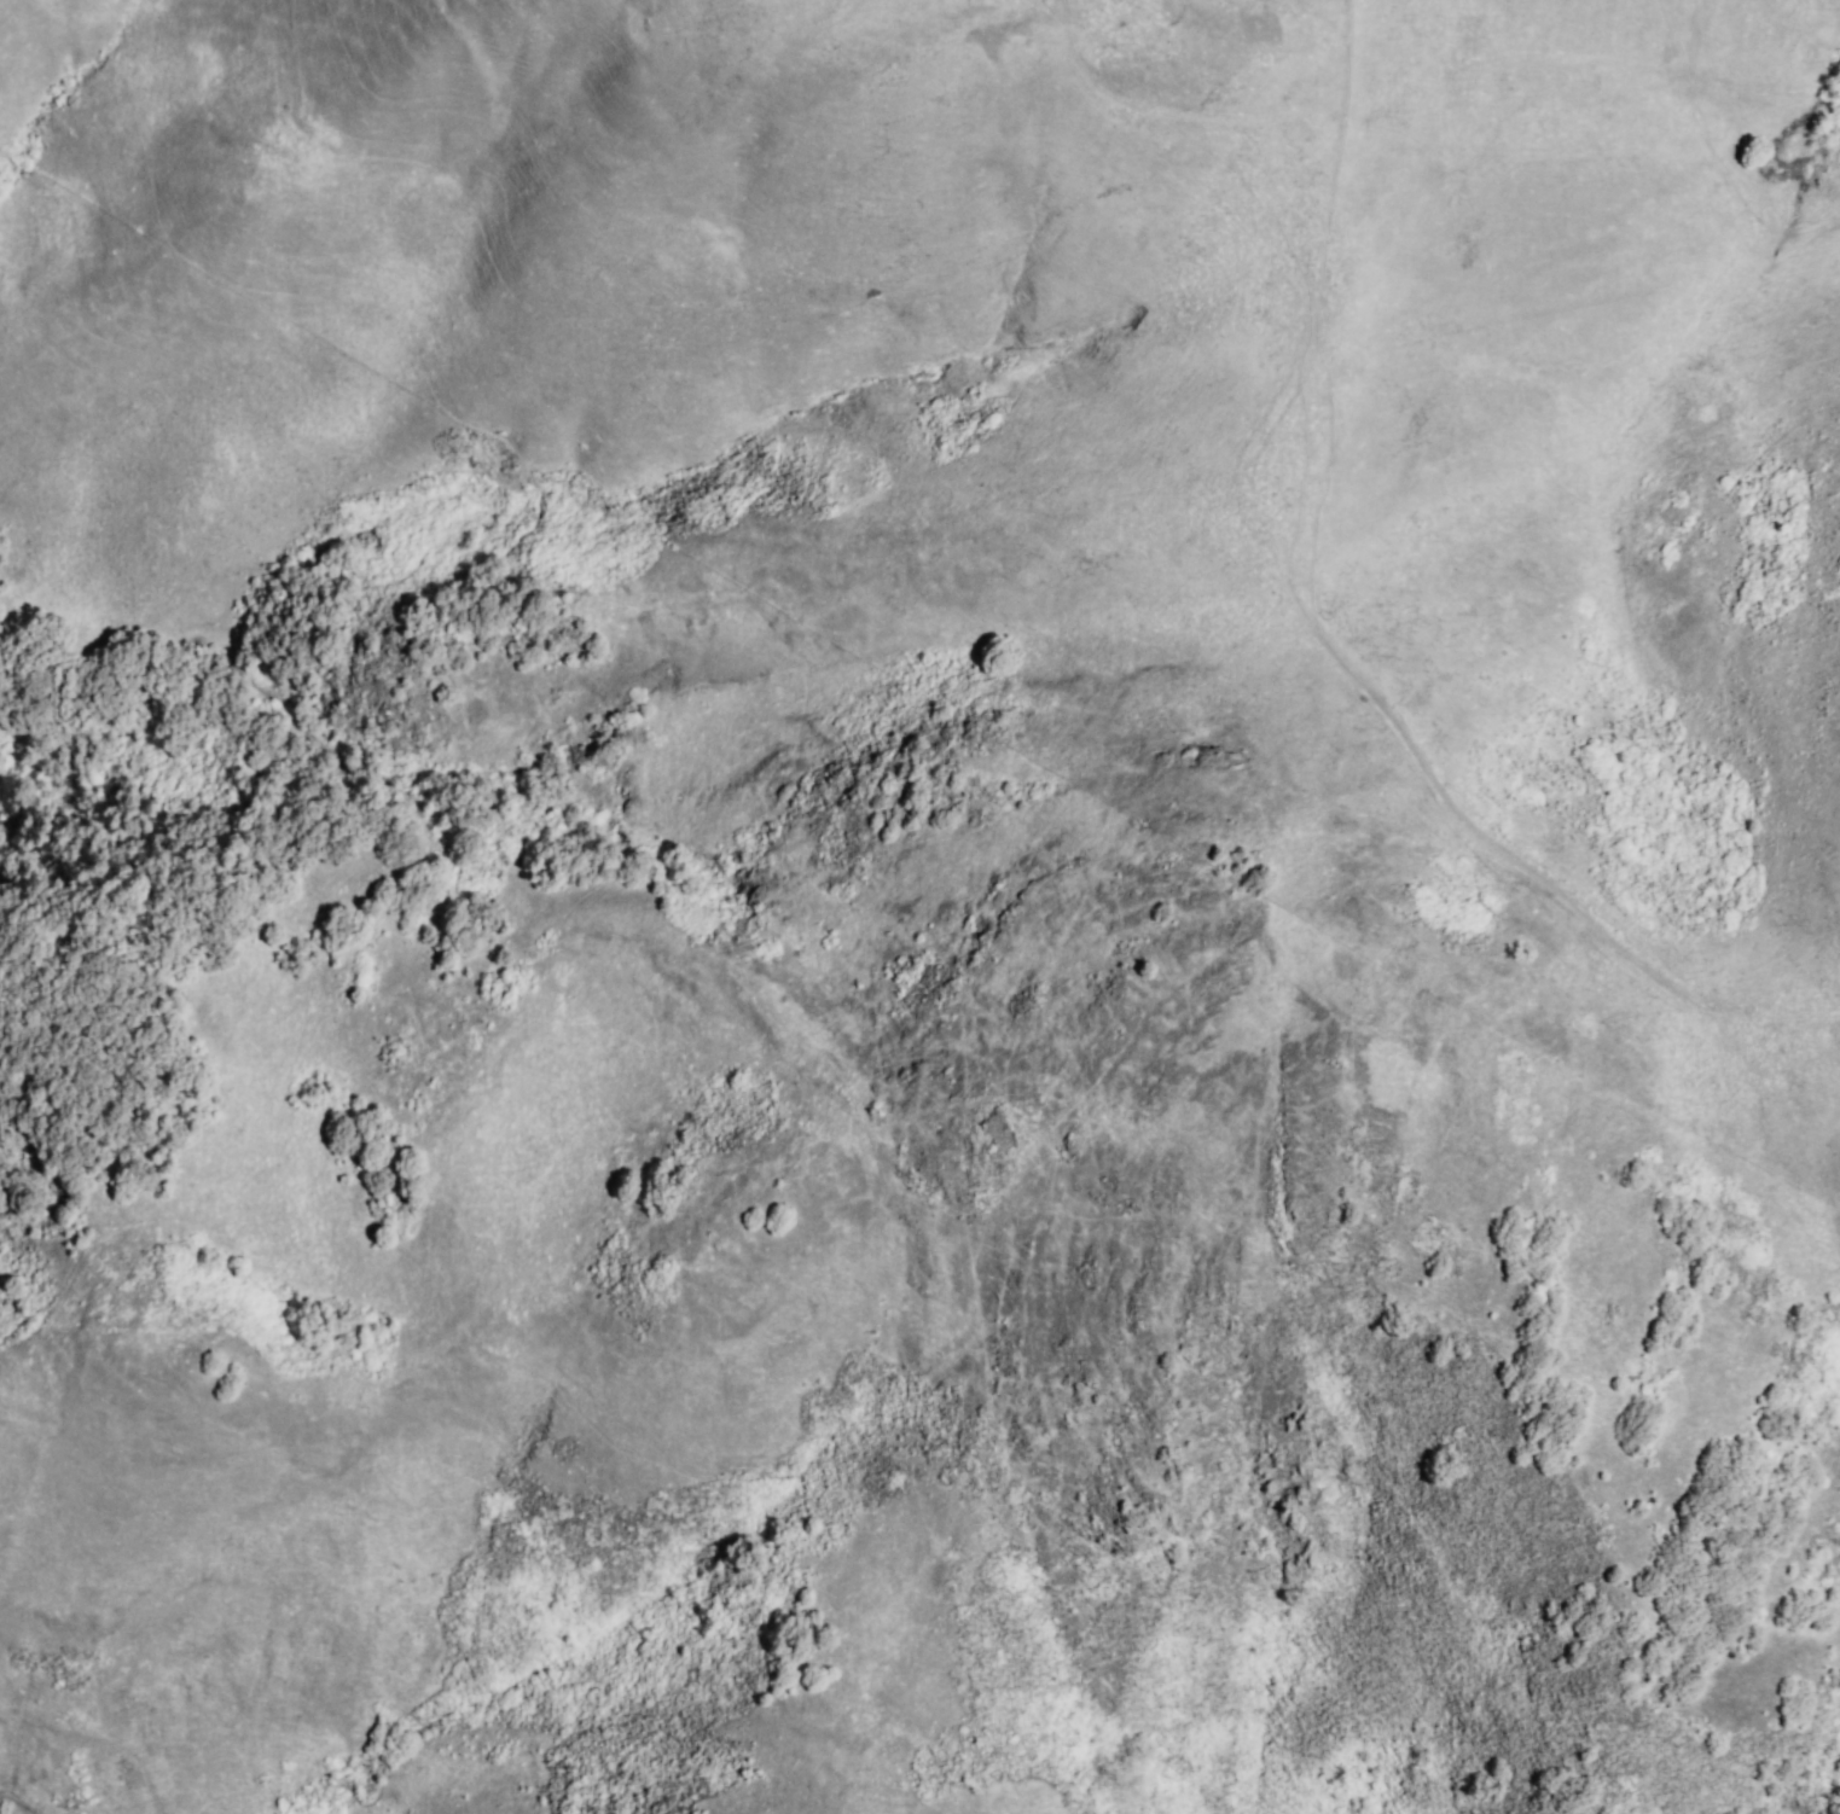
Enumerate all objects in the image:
road: (1285, 574)

